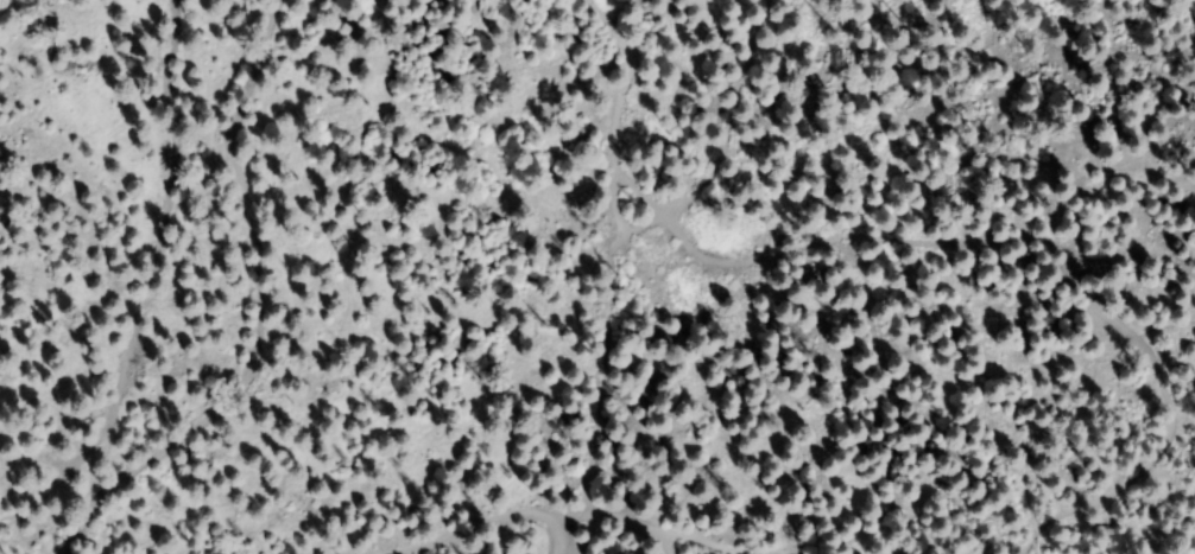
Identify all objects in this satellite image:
road: (265, 314)
road: (491, 524)
road: (570, 528)
road: (671, 533)
road: (683, 547)

